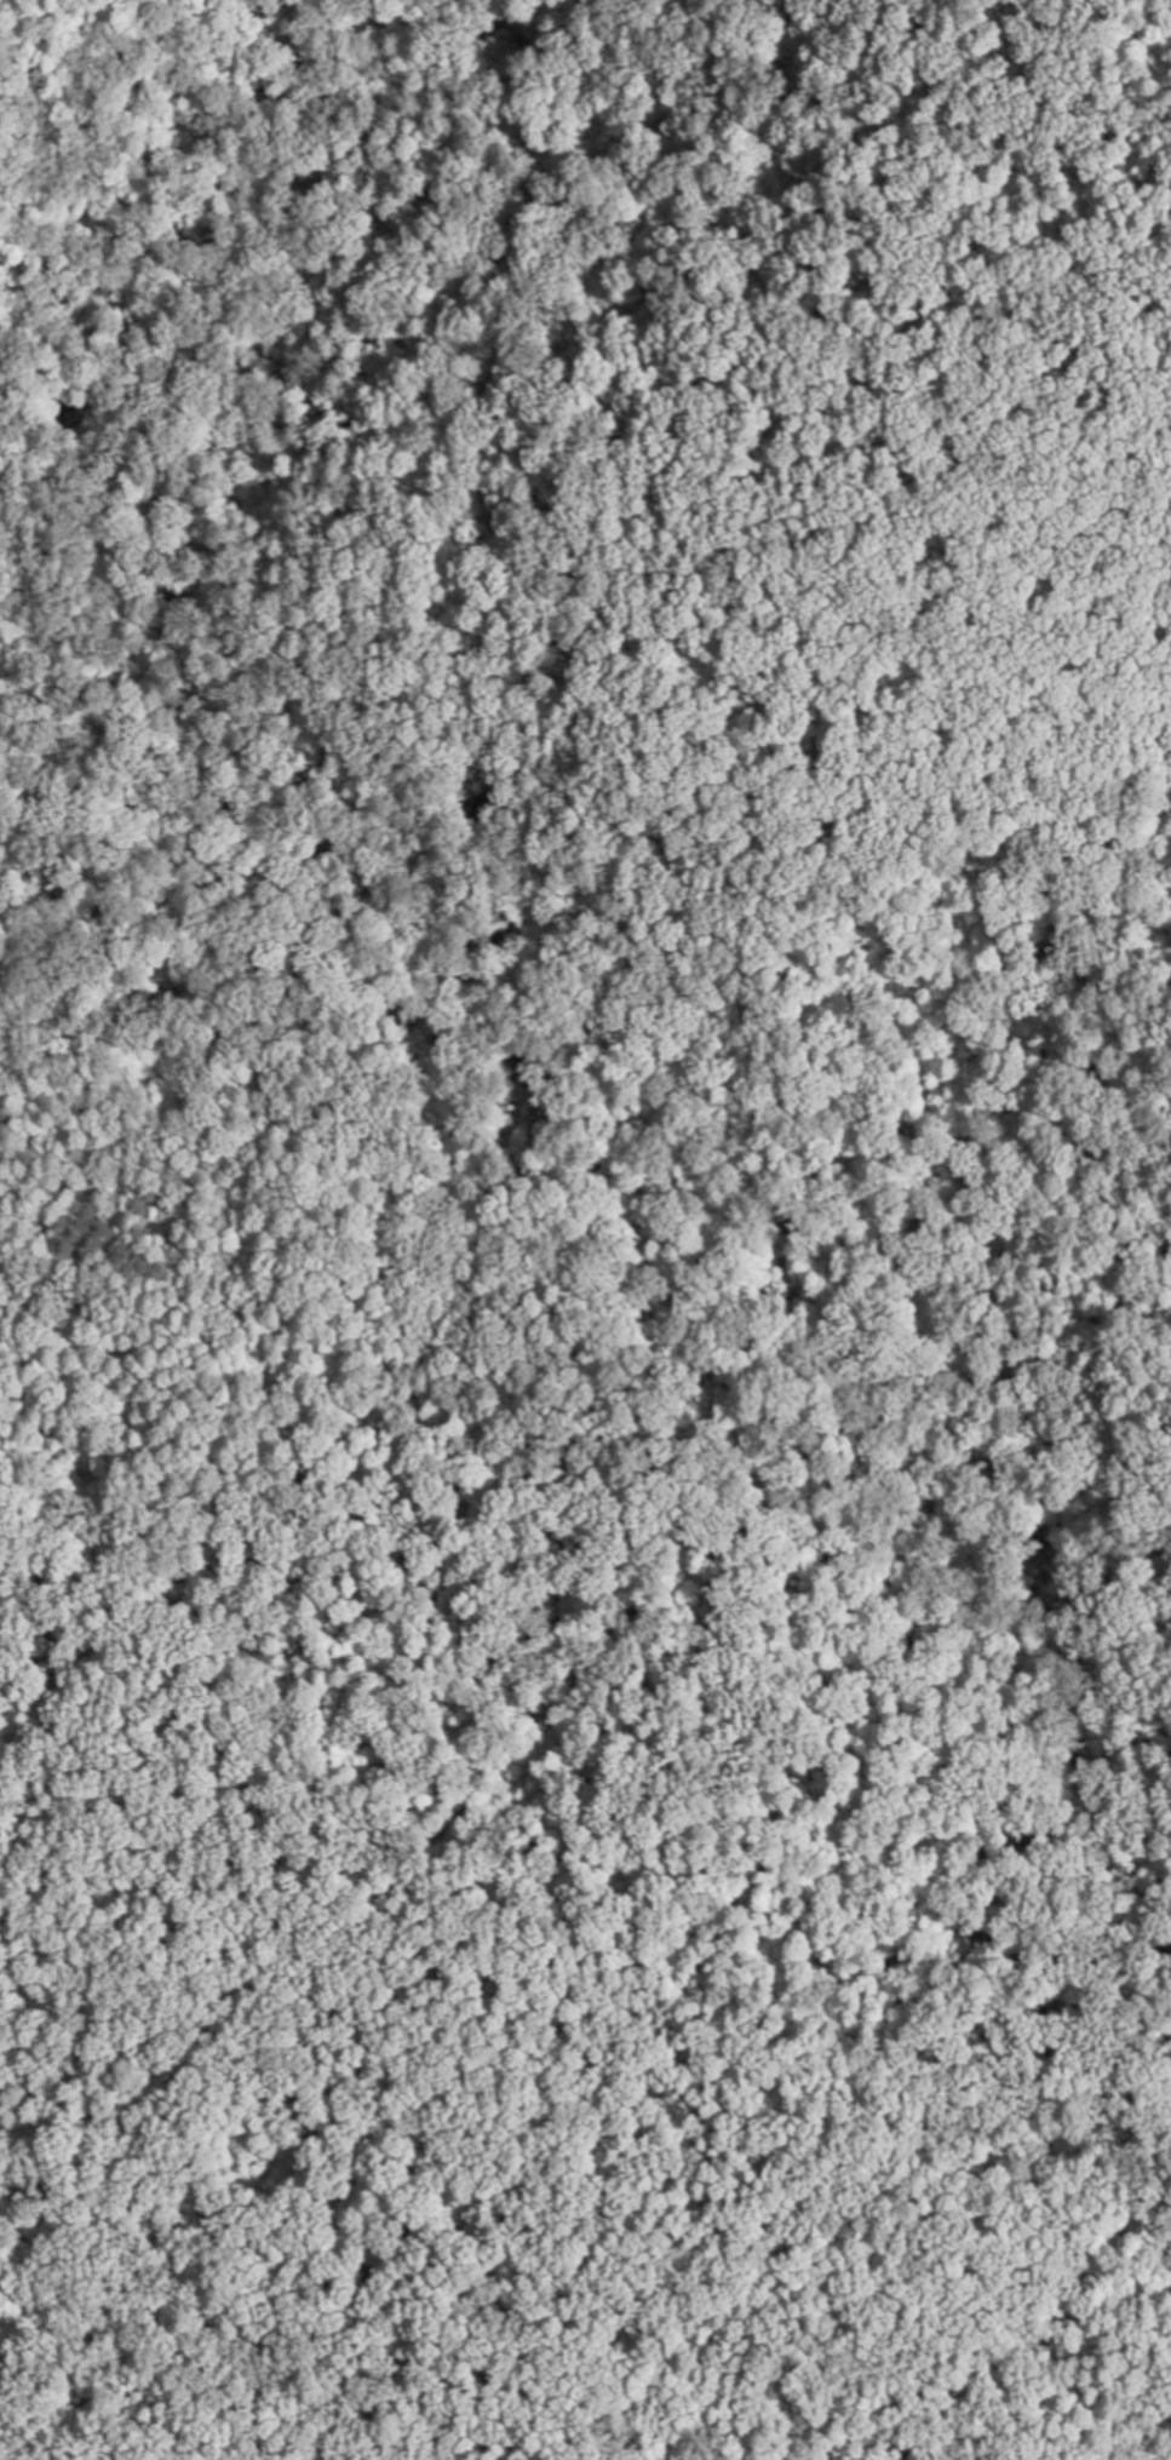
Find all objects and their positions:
road: (1020, 2352)

